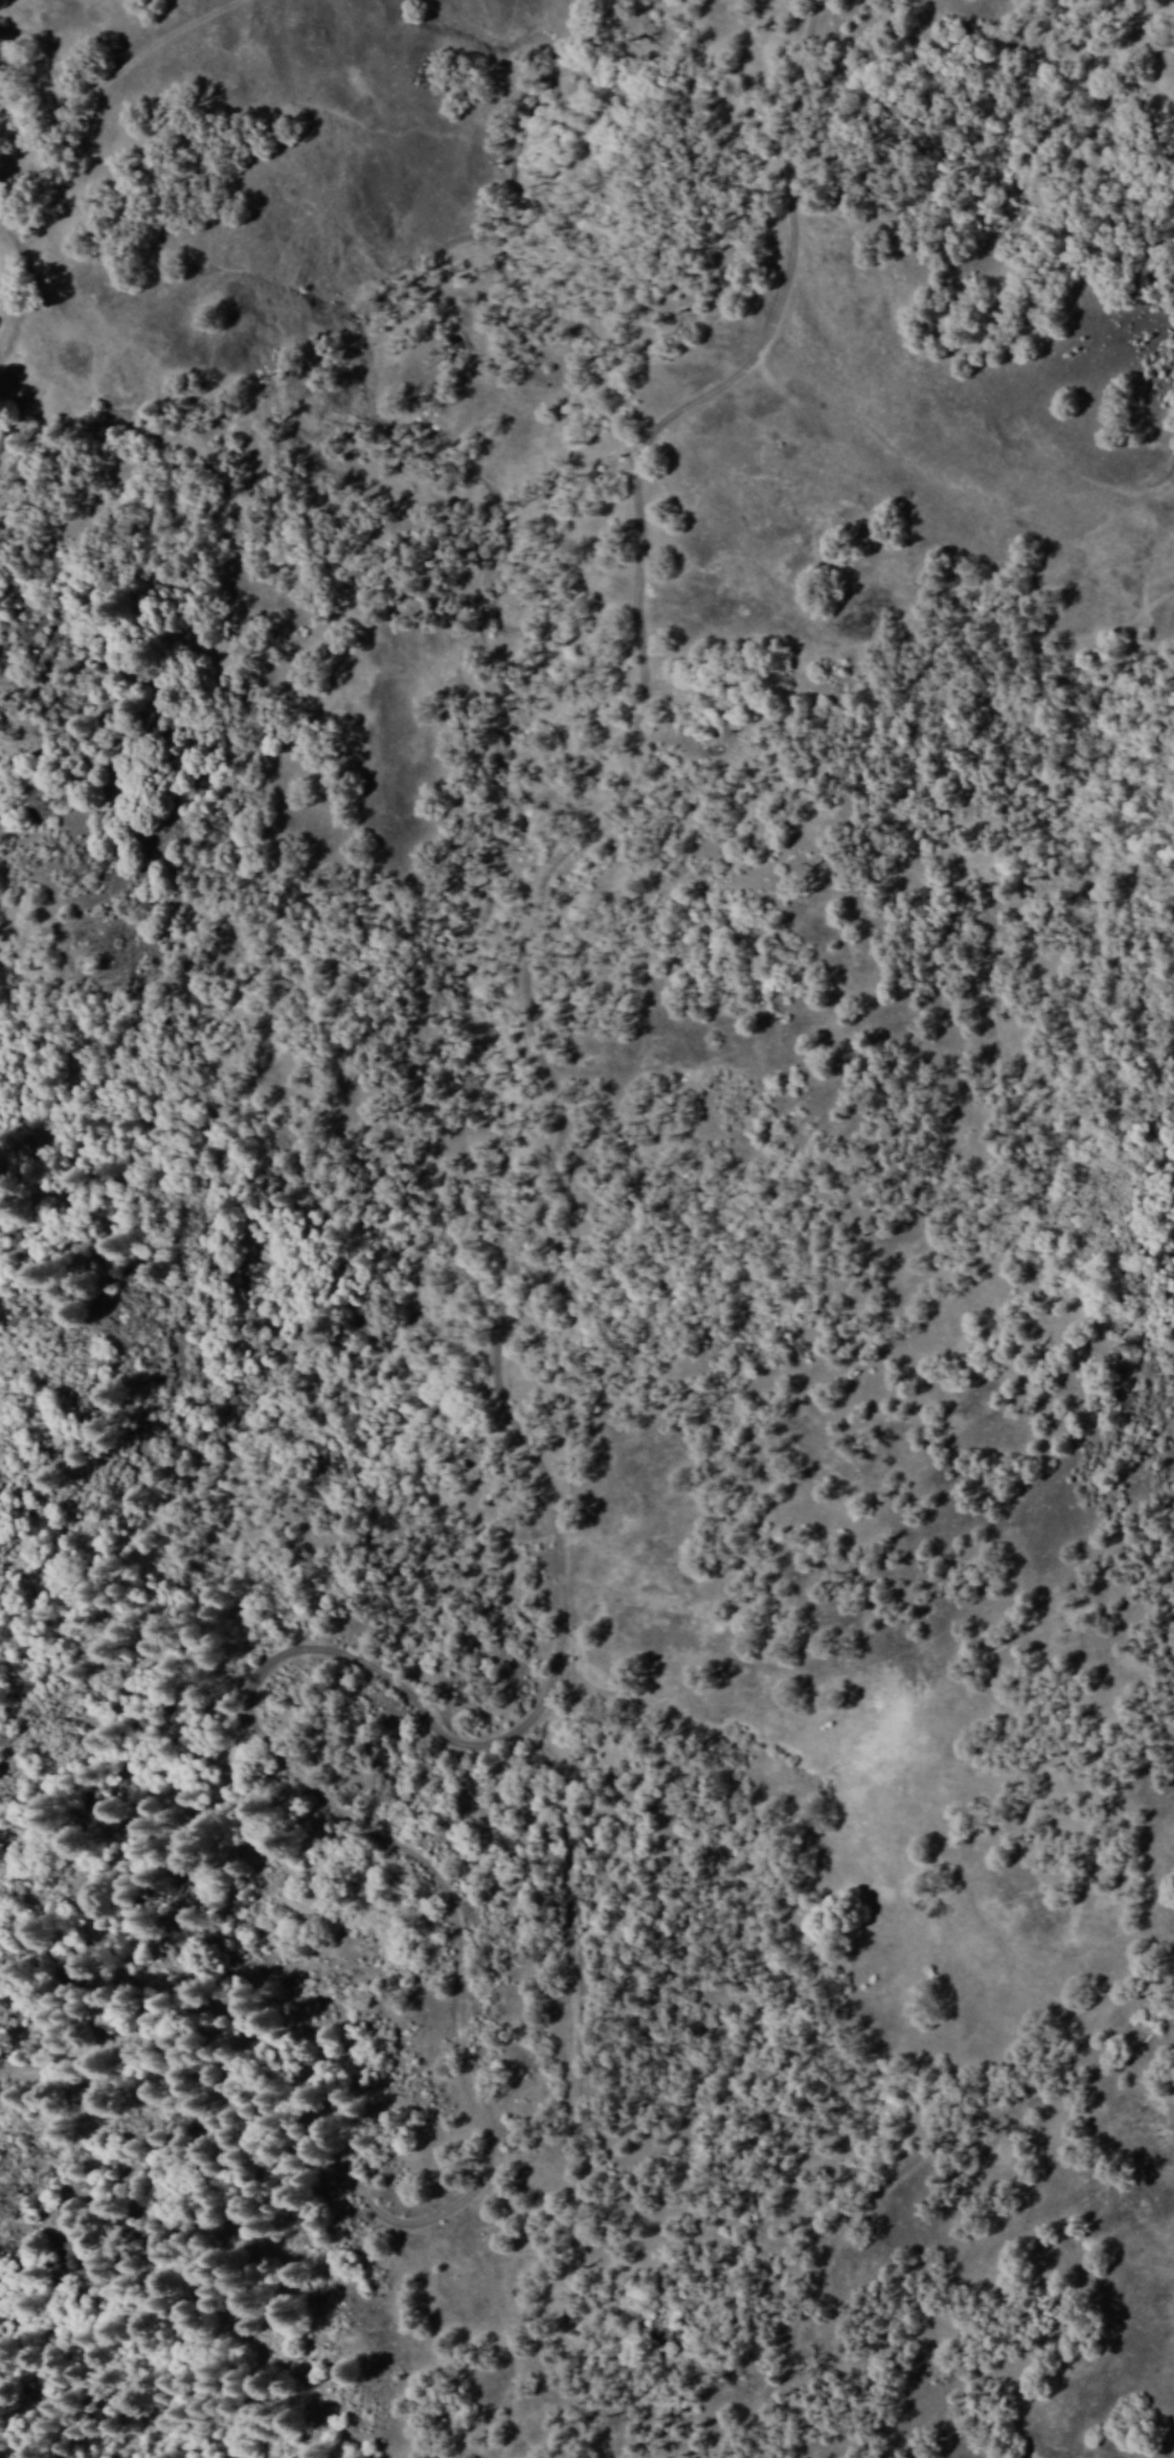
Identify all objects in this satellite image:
road: (566, 1558)

